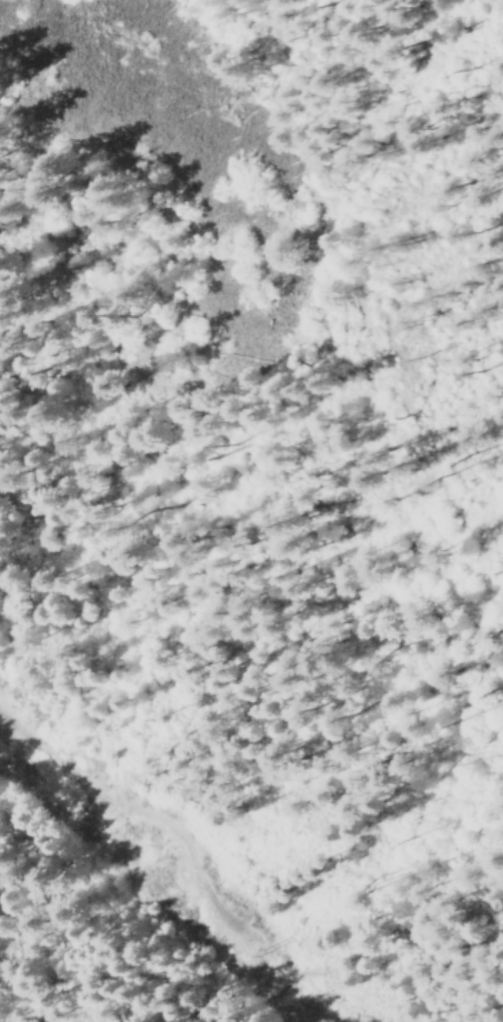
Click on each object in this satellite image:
road: (347, 961)
road: (67, 982)

